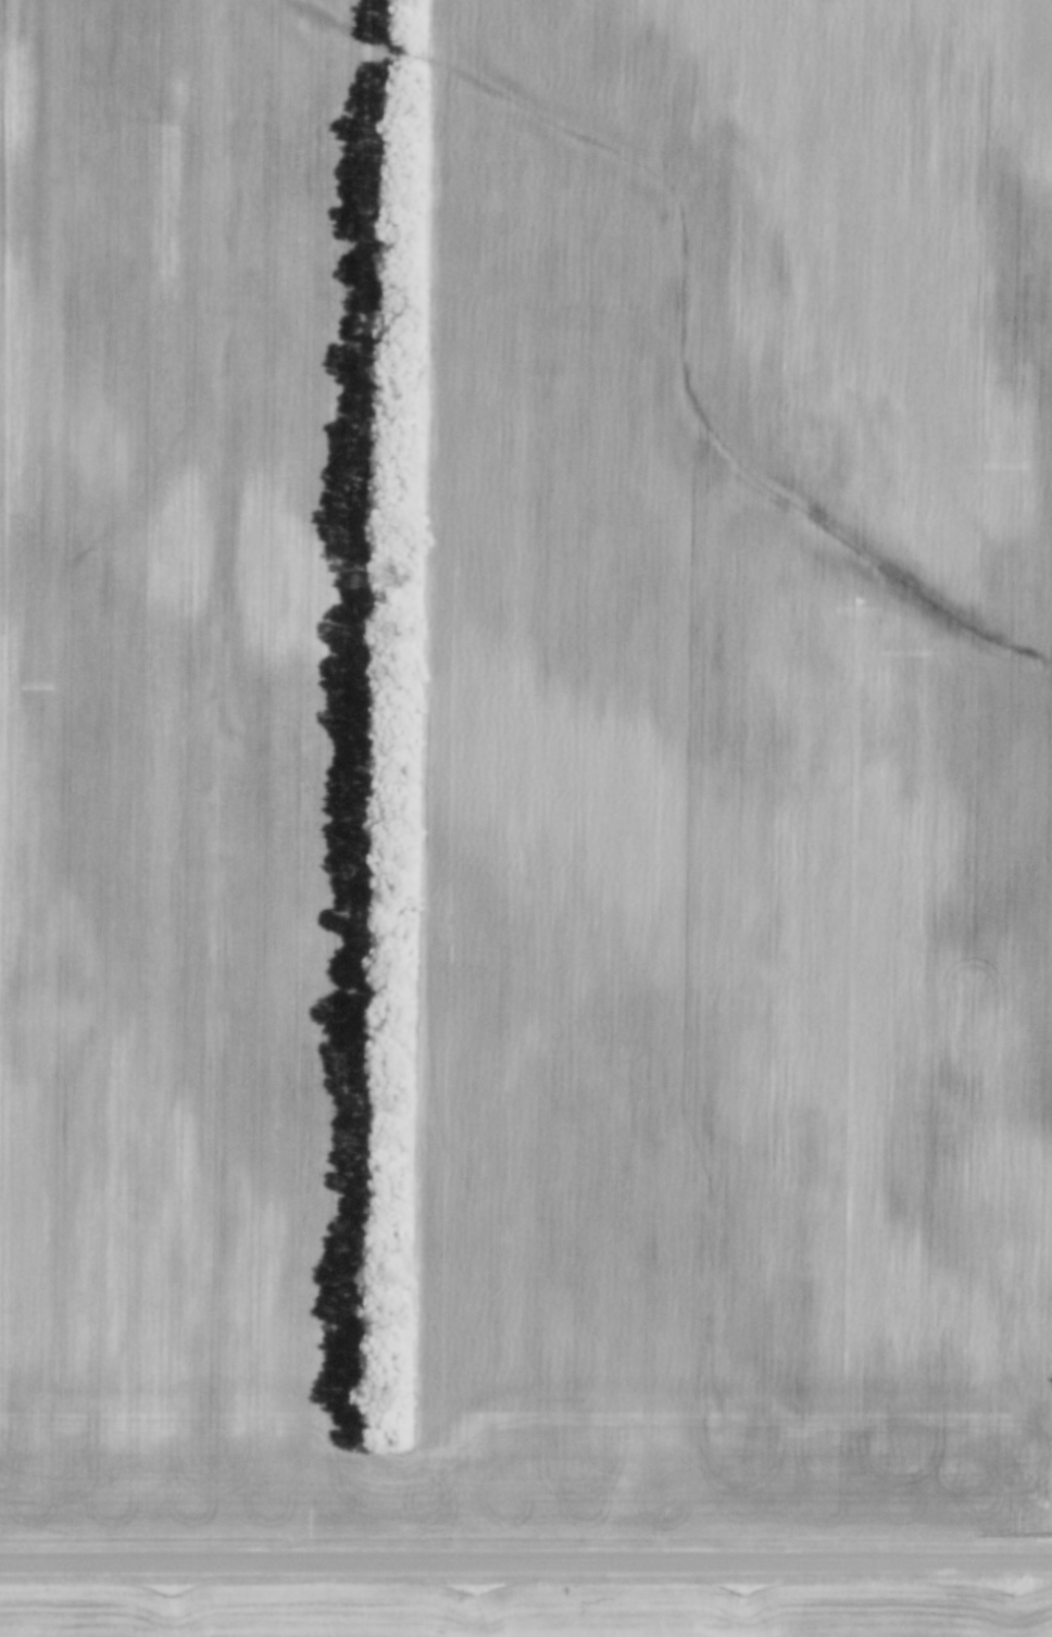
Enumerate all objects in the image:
road: (526, 1563)

